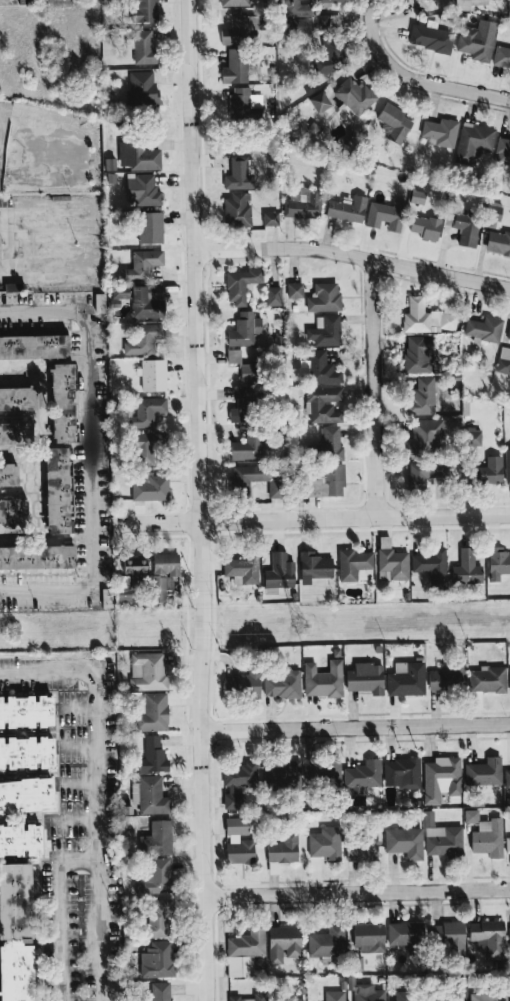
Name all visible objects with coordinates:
building: (331, 0)
building: (110, 2)
building: (234, 3)
building: (296, 8)
building: (143, 11)
building: (327, 21)
building: (298, 25)
building: (242, 30)
building: (430, 38)
building: (477, 41)
building: (144, 48)
building: (502, 54)
building: (330, 55)
building: (509, 62)
building: (235, 66)
road: (415, 78)
building: (142, 87)
building: (354, 95)
building: (319, 102)
building: (243, 105)
road: (0, 122)
building: (394, 123)
building: (440, 132)
building: (473, 142)
building: (502, 150)
building: (144, 157)
building: (509, 159)
building: (240, 174)
building: (142, 191)
building: (302, 204)
building: (347, 209)
building: (237, 210)
building: (385, 215)
building: (492, 216)
building: (270, 219)
building: (150, 227)
building: (425, 227)
building: (466, 227)
road: (8, 241)
building: (497, 242)
building: (509, 253)
road: (352, 254)
building: (142, 265)
building: (240, 284)
building: (295, 290)
building: (155, 291)
building: (273, 296)
building: (324, 298)
building: (140, 301)
building: (100, 302)
building: (428, 316)
building: (484, 328)
building: (245, 329)
building: (326, 331)
building: (509, 338)
building: (145, 339)
building: (34, 346)
building: (418, 354)
building: (233, 356)
building: (503, 360)
building: (319, 368)
building: (252, 370)
building: (153, 375)
road: (376, 388)
building: (422, 397)
building: (18, 399)
building: (63, 403)
building: (324, 404)
building: (245, 406)
building: (148, 410)
building: (15, 433)
building: (425, 436)
building: (472, 436)
building: (329, 444)
building: (145, 447)
building: (249, 447)
road: (92, 455)
building: (509, 455)
building: (507, 466)
building: (488, 471)
building: (426, 472)
building: (8, 475)
building: (260, 478)
building: (327, 481)
building: (150, 488)
building: (57, 490)
road: (198, 500)
building: (13, 511)
road: (324, 519)
building: (509, 556)
building: (37, 557)
building: (393, 563)
building: (497, 563)
building: (354, 565)
building: (314, 567)
building: (432, 567)
building: (467, 568)
building: (242, 570)
building: (279, 572)
building: (164, 574)
building: (130, 578)
building: (107, 598)
power tower: (292, 628)
power tower: (7, 635)
road: (47, 671)
building: (148, 671)
building: (509, 675)
building: (365, 678)
building: (323, 679)
building: (406, 679)
building: (447, 679)
building: (488, 679)
building: (283, 683)
building: (242, 685)
road: (75, 708)
building: (26, 711)
building: (153, 713)
road: (356, 726)
road: (76, 747)
building: (26, 752)
building: (153, 756)
building: (323, 771)
building: (484, 772)
building: (402, 773)
building: (363, 775)
building: (441, 778)
building: (507, 779)
building: (238, 783)
road: (78, 784)
building: (26, 795)
building: (150, 795)
road: (71, 819)
building: (236, 825)
road: (99, 835)
building: (442, 838)
building: (488, 838)
building: (157, 839)
building: (20, 840)
building: (509, 840)
building: (324, 842)
building: (405, 842)
building: (362, 846)
building: (283, 848)
building: (241, 851)
building: (157, 876)
road: (358, 890)
road: (60, 910)
building: (159, 919)
building: (16, 933)
building: (509, 933)
building: (405, 934)
building: (448, 936)
building: (368, 937)
building: (488, 938)
building: (284, 943)
building: (245, 952)
building: (157, 960)
building: (356, 963)
building: (459, 989)
building: (160, 991)
building: (335, 995)
building: (488, 996)
building: (251, 997)
building: (410, 997)
building: (289, 1000)

